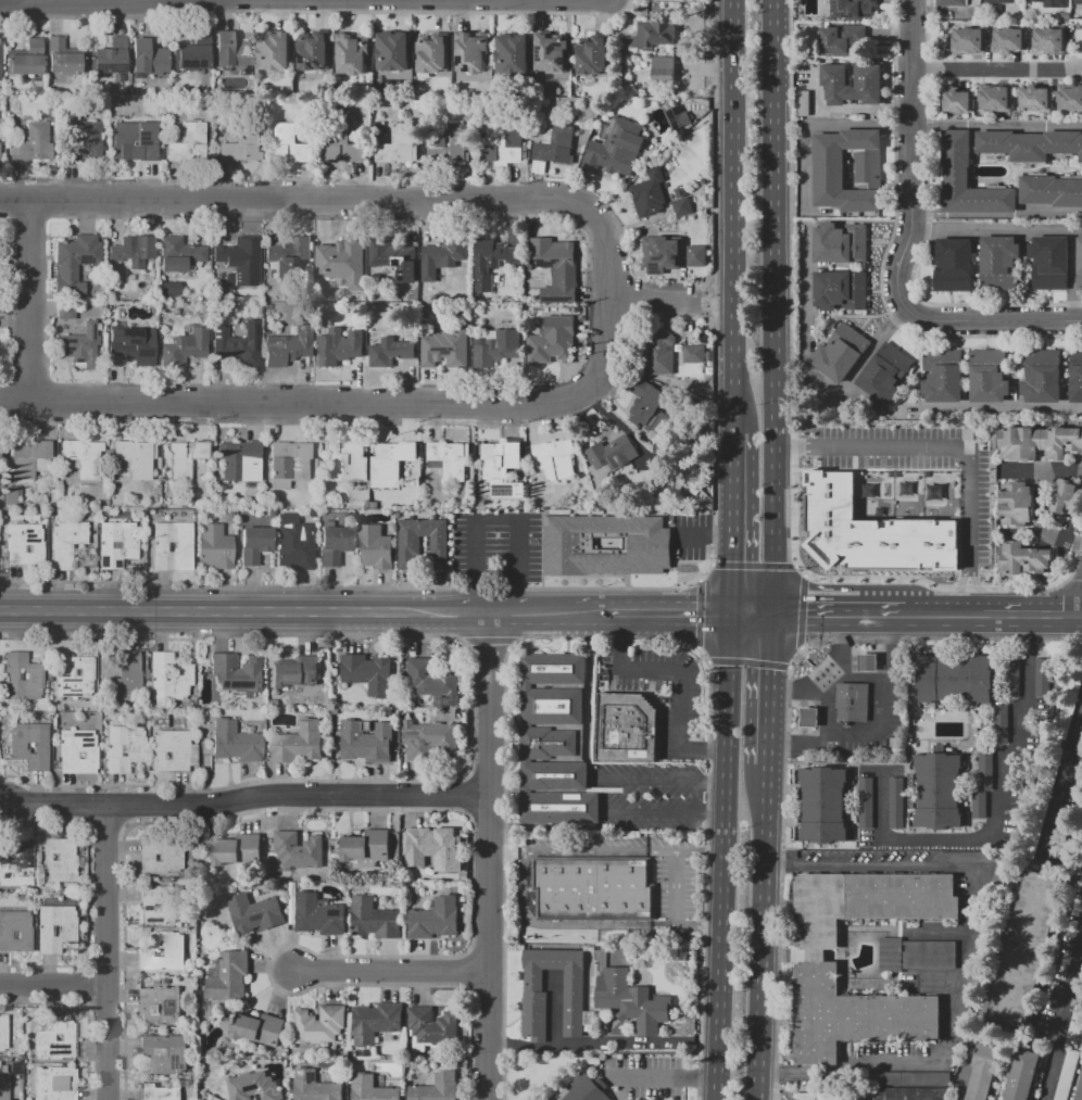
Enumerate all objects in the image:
road: (115, 0)
building: (998, 0)
building: (1078, 2)
building: (951, 3)
building: (1053, 3)
road: (627, 5)
road: (583, 7)
building: (853, 9)
road: (312, 12)
building: (1065, 15)
building: (945, 16)
building: (654, 34)
building: (967, 38)
building: (1008, 39)
building: (842, 40)
building: (1047, 41)
building: (231, 50)
building: (274, 50)
building: (392, 51)
building: (193, 52)
building: (469, 52)
building: (550, 52)
building: (313, 53)
building: (351, 53)
building: (511, 53)
building: (432, 54)
building: (62, 55)
building: (110, 55)
building: (590, 55)
building: (147, 56)
building: (25, 59)
building: (662, 69)
road: (996, 71)
building: (867, 75)
building: (994, 99)
building: (1034, 99)
building: (1069, 99)
building: (955, 100)
building: (802, 103)
building: (678, 117)
road: (928, 125)
road: (1012, 125)
building: (84, 143)
building: (188, 143)
building: (444, 143)
building: (500, 143)
building: (33, 144)
building: (133, 144)
building: (240, 144)
building: (342, 144)
building: (1029, 144)
building: (289, 146)
building: (398, 146)
building: (555, 146)
building: (616, 147)
building: (2, 150)
building: (828, 167)
building: (967, 178)
road: (388, 182)
building: (1050, 190)
building: (649, 193)
road: (341, 200)
building: (681, 203)
road: (737, 211)
road: (1014, 213)
road: (929, 214)
road: (336, 217)
road: (997, 232)
building: (840, 243)
road: (905, 244)
building: (133, 250)
building: (179, 253)
building: (659, 254)
building: (288, 256)
building: (442, 256)
building: (695, 256)
building: (241, 257)
building: (392, 258)
building: (342, 260)
building: (491, 261)
building: (1048, 261)
building: (998, 262)
building: (1079, 262)
building: (74, 263)
building: (952, 264)
building: (556, 268)
road: (607, 271)
building: (841, 290)
road: (26, 299)
road: (714, 300)
road: (658, 303)
road: (722, 304)
road: (775, 308)
building: (64, 311)
building: (552, 341)
building: (133, 345)
building: (240, 345)
building: (79, 346)
building: (339, 346)
building: (184, 347)
building: (287, 347)
building: (496, 347)
building: (444, 349)
building: (389, 351)
building: (839, 351)
building: (693, 353)
building: (657, 355)
building: (884, 372)
building: (989, 375)
building: (942, 376)
building: (1042, 376)
building: (1075, 376)
building: (646, 396)
road: (343, 404)
road: (1005, 408)
building: (967, 433)
building: (1037, 443)
road: (934, 447)
building: (135, 456)
building: (27, 457)
building: (83, 457)
building: (183, 458)
building: (236, 458)
building: (450, 458)
building: (553, 458)
building: (608, 460)
building: (347, 462)
building: (390, 462)
building: (288, 464)
building: (498, 468)
building: (10, 495)
building: (1064, 496)
road: (1041, 500)
building: (1016, 504)
building: (228, 517)
road: (737, 519)
road: (498, 520)
building: (869, 532)
road: (695, 536)
road: (724, 536)
building: (408, 542)
building: (437, 542)
building: (23, 543)
building: (64, 543)
building: (294, 543)
building: (116, 544)
building: (253, 544)
building: (604, 544)
building: (183, 545)
building: (334, 545)
building: (169, 546)
building: (214, 547)
building: (374, 547)
building: (1022, 558)
road: (752, 565)
road: (798, 571)
road: (705, 573)
road: (960, 591)
road: (973, 592)
road: (802, 611)
road: (237, 612)
road: (1032, 614)
road: (699, 615)
road: (933, 615)
road: (967, 615)
road: (979, 615)
road: (511, 616)
road: (840, 616)
road: (574, 617)
road: (668, 617)
road: (755, 617)
traffic signals: (775, 617)
traffic signals: (735, 618)
road: (747, 661)
building: (869, 662)
building: (294, 672)
road: (826, 672)
building: (366, 673)
building: (237, 674)
road: (857, 674)
building: (22, 677)
building: (75, 677)
building: (125, 677)
building: (167, 677)
building: (431, 677)
building: (1010, 677)
building: (1045, 678)
road: (679, 679)
building: (957, 680)
road: (770, 691)
building: (854, 703)
gas station: (854, 703)
road: (825, 709)
building: (811, 717)
building: (999, 722)
building: (627, 729)
road: (882, 730)
building: (428, 741)
building: (553, 741)
road: (1074, 741)
building: (234, 742)
building: (298, 742)
building: (366, 742)
building: (29, 745)
building: (123, 748)
building: (169, 750)
building: (76, 751)
building: (983, 770)
building: (941, 792)
road: (567, 795)
road: (248, 798)
road: (697, 798)
building: (864, 802)
building: (894, 802)
building: (826, 804)
building: (977, 805)
road: (997, 817)
building: (366, 848)
building: (430, 848)
building: (236, 849)
building: (299, 850)
road: (687, 850)
road: (503, 852)
road: (524, 852)
building: (159, 855)
road: (489, 857)
road: (728, 859)
building: (55, 860)
building: (15, 864)
road: (779, 871)
road: (704, 872)
building: (593, 888)
road: (676, 889)
road: (519, 892)
building: (160, 905)
building: (254, 913)
building: (319, 913)
building: (374, 919)
building: (436, 919)
building: (54, 927)
road: (688, 928)
building: (14, 931)
road: (765, 933)
building: (1024, 948)
building: (163, 951)
road: (965, 951)
road: (108, 952)
building: (890, 956)
building: (929, 956)
road: (393, 969)
building: (229, 976)
building: (816, 978)
road: (53, 983)
building: (536, 995)
building: (630, 1001)
building: (161, 1004)
building: (1078, 1007)
road: (1060, 1020)
building: (374, 1022)
building: (319, 1025)
building: (432, 1025)
building: (259, 1029)
building: (3, 1033)
building: (1073, 1035)
building: (52, 1040)
road: (604, 1040)
building: (165, 1052)
building: (981, 1072)
building: (1067, 1074)
building: (1021, 1075)
road: (665, 1076)
building: (908, 1078)
building: (53, 1084)
building: (3, 1086)
building: (314, 1086)
building: (254, 1087)
building: (373, 1088)
building: (437, 1088)
building: (1079, 1088)
building: (580, 1090)
building: (159, 1092)
building: (910, 1093)
building: (804, 1096)
building: (839, 1096)

